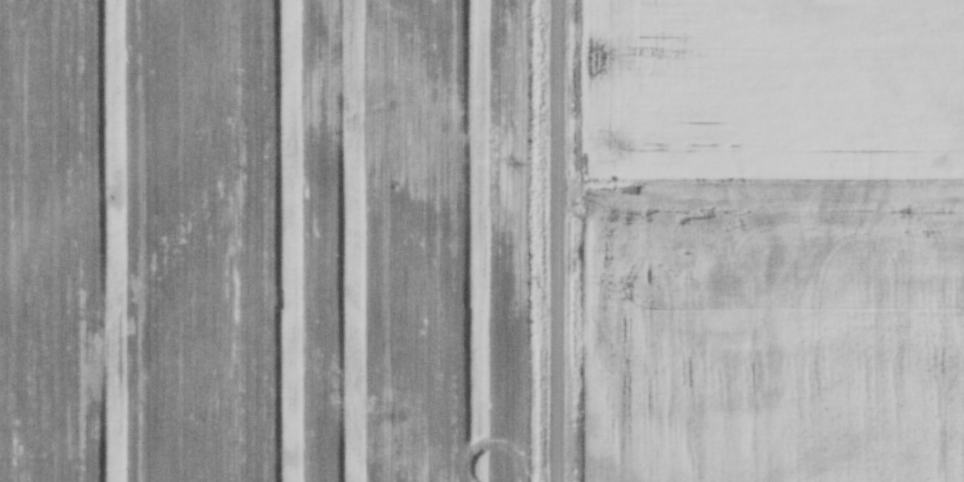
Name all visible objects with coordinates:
road: (547, 241)

